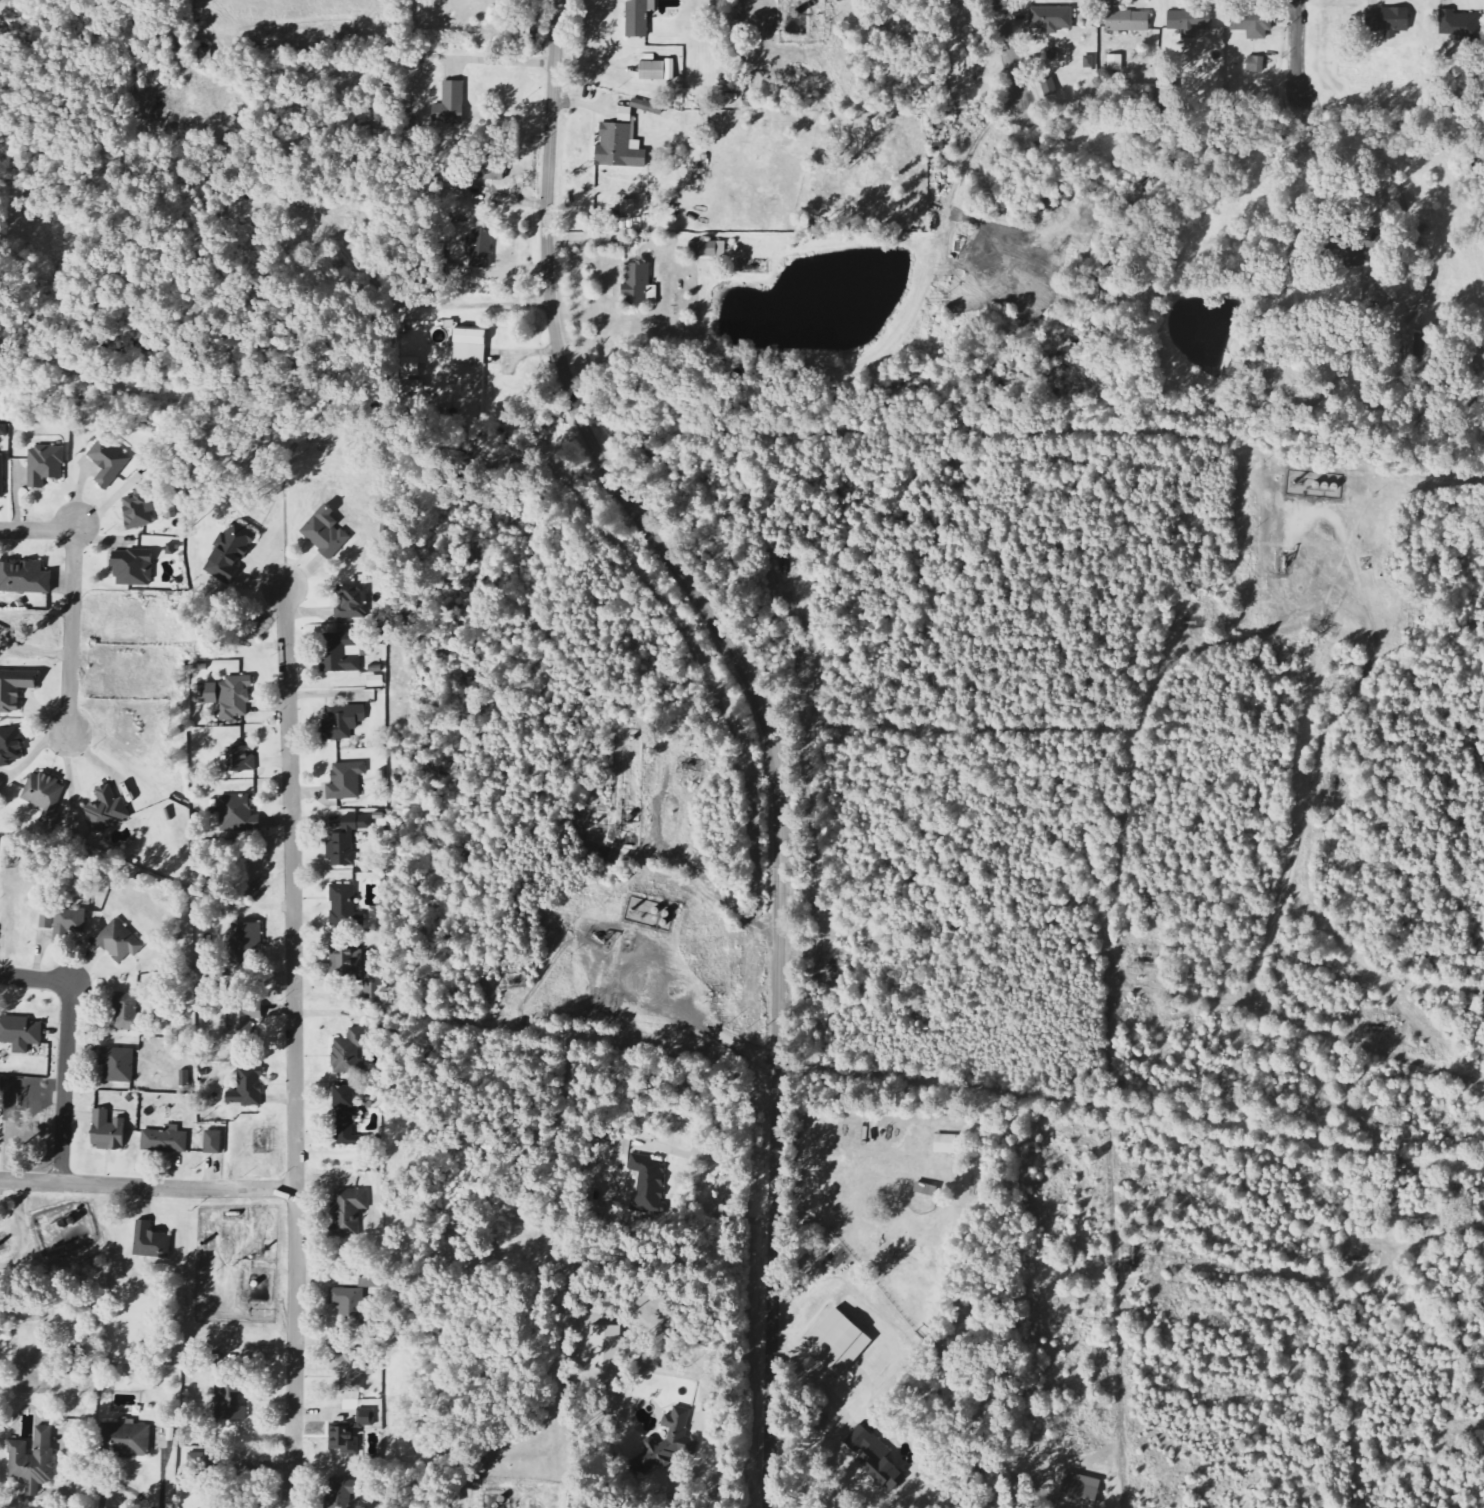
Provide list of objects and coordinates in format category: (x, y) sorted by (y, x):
building: (640, 17)
building: (1052, 19)
building: (1129, 21)
building: (1191, 21)
building: (1390, 22)
building: (1254, 24)
building: (1461, 25)
road: (1304, 46)
road: (1016, 55)
building: (206, 59)
building: (1116, 63)
building: (1257, 65)
building: (657, 69)
building: (451, 104)
building: (648, 107)
building: (626, 115)
building: (619, 148)
building: (494, 176)
building: (629, 207)
building: (482, 249)
building: (708, 250)
building: (1351, 250)
building: (638, 285)
building: (470, 347)
building: (1269, 355)
building: (409, 367)
building: (3, 429)
building: (108, 461)
building: (45, 464)
building: (2, 476)
building: (138, 508)
building: (325, 532)
building: (231, 551)
building: (133, 568)
building: (24, 578)
road: (73, 593)
building: (351, 602)
building: (341, 652)
building: (375, 681)
building: (15, 687)
building: (229, 696)
building: (342, 721)
road: (767, 725)
building: (10, 745)
building: (241, 759)
building: (346, 780)
building: (44, 795)
building: (107, 810)
building: (237, 813)
building: (346, 841)
building: (344, 906)
building: (64, 918)
building: (120, 941)
building: (245, 943)
building: (346, 962)
building: (373, 992)
building: (127, 1011)
building: (242, 1025)
building: (20, 1032)
road: (66, 1047)
road: (295, 1047)
building: (349, 1050)
building: (118, 1063)
building: (248, 1088)
building: (346, 1115)
building: (108, 1130)
building: (166, 1140)
building: (214, 1142)
building: (946, 1144)
building: (648, 1182)
road: (148, 1187)
building: (349, 1211)
building: (151, 1240)
building: (348, 1306)
building: (840, 1342)
building: (606, 1347)
building: (351, 1369)
building: (231, 1397)
building: (365, 1417)
building: (127, 1438)
building: (343, 1440)
building: (668, 1444)
building: (876, 1458)
building: (33, 1462)
building: (200, 1462)
building: (340, 1492)

